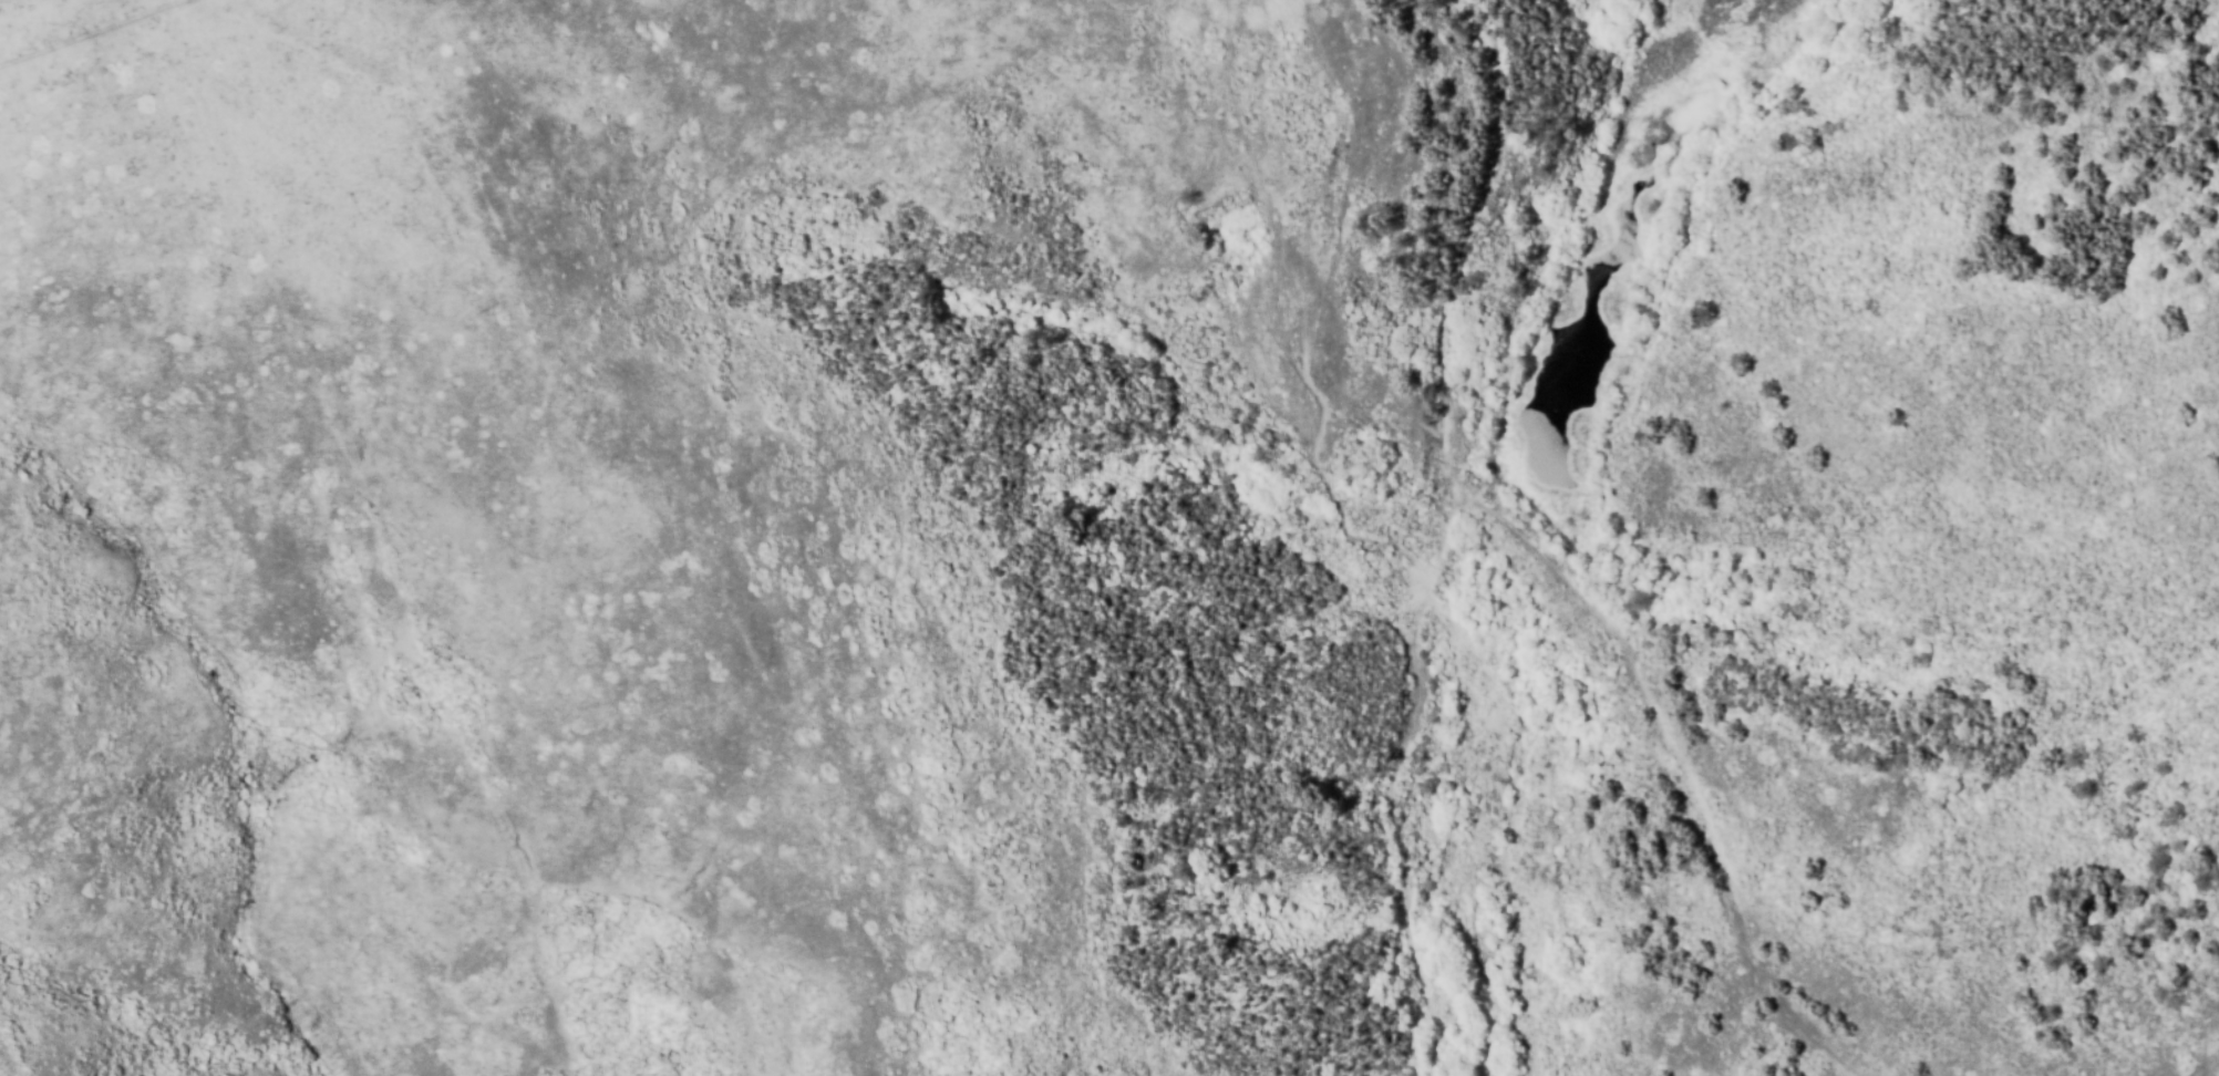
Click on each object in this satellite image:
road: (1457, 186)
road: (1686, 757)
road: (1397, 778)

